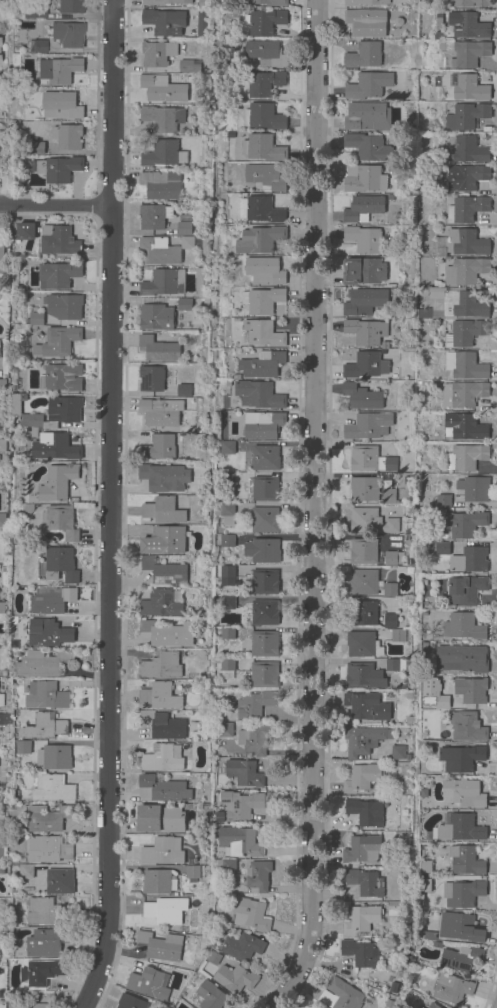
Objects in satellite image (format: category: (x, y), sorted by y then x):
building: (165, 2)
building: (270, 2)
building: (367, 3)
building: (469, 3)
building: (70, 6)
building: (32, 12)
building: (164, 21)
building: (265, 22)
building: (397, 22)
building: (366, 23)
building: (469, 25)
building: (68, 34)
building: (4, 36)
building: (36, 45)
building: (4, 51)
building: (266, 53)
building: (469, 53)
building: (157, 54)
building: (363, 56)
building: (189, 66)
building: (57, 70)
building: (264, 83)
building: (367, 85)
building: (159, 88)
building: (468, 88)
building: (30, 90)
building: (60, 105)
building: (467, 116)
building: (263, 117)
building: (368, 117)
building: (162, 118)
building: (67, 136)
building: (367, 147)
building: (36, 148)
building: (263, 148)
building: (467, 149)
building: (162, 154)
building: (1, 159)
building: (57, 168)
building: (266, 177)
building: (466, 177)
building: (363, 179)
building: (160, 184)
building: (428, 187)
building: (390, 197)
road: (55, 204)
building: (363, 208)
building: (467, 209)
building: (263, 210)
building: (153, 216)
building: (183, 218)
building: (22, 228)
building: (183, 230)
building: (259, 239)
building: (363, 239)
building: (60, 242)
building: (189, 243)
building: (462, 243)
building: (158, 251)
building: (1, 257)
building: (264, 271)
building: (363, 271)
building: (466, 271)
building: (58, 275)
building: (197, 282)
building: (163, 283)
building: (390, 291)
building: (262, 300)
building: (363, 301)
building: (183, 304)
building: (457, 304)
building: (64, 306)
building: (379, 312)
building: (238, 313)
building: (155, 317)
building: (36, 318)
building: (194, 319)
building: (365, 332)
building: (261, 333)
building: (466, 333)
building: (58, 342)
building: (384, 346)
building: (158, 349)
building: (262, 365)
building: (365, 366)
building: (466, 366)
building: (61, 377)
building: (237, 377)
building: (151, 379)
building: (228, 384)
building: (2, 385)
building: (183, 390)
building: (466, 394)
building: (258, 395)
building: (361, 397)
building: (17, 403)
building: (65, 410)
building: (159, 412)
building: (31, 421)
building: (263, 425)
building: (367, 426)
building: (464, 427)
building: (35, 433)
building: (3, 446)
building: (55, 447)
building: (157, 448)
building: (227, 448)
building: (466, 457)
building: (265, 458)
building: (371, 459)
building: (163, 477)
building: (229, 477)
building: (406, 481)
building: (57, 482)
building: (473, 488)
building: (265, 489)
building: (364, 489)
building: (227, 491)
building: (388, 496)
building: (443, 500)
road: (108, 506)
road: (311, 508)
building: (26, 510)
building: (163, 511)
building: (225, 512)
building: (265, 519)
building: (2, 520)
building: (59, 521)
building: (371, 522)
building: (464, 524)
building: (162, 539)
building: (227, 541)
building: (432, 548)
building: (443, 549)
building: (262, 550)
building: (363, 551)
building: (393, 558)
building: (470, 560)
building: (60, 565)
building: (165, 571)
building: (225, 574)
building: (264, 581)
building: (363, 582)
building: (424, 582)
building: (389, 590)
building: (464, 591)
building: (54, 601)
building: (162, 603)
building: (227, 603)
building: (1, 608)
building: (261, 613)
building: (363, 613)
building: (205, 614)
building: (393, 621)
building: (462, 626)
building: (48, 632)
building: (168, 633)
building: (227, 633)
building: (397, 635)
building: (264, 643)
building: (363, 645)
building: (425, 646)
building: (461, 658)
building: (409, 662)
building: (41, 664)
building: (160, 665)
building: (394, 666)
building: (226, 668)
building: (264, 674)
building: (190, 676)
building: (364, 676)
building: (470, 690)
building: (408, 694)
building: (46, 696)
building: (158, 696)
building: (1, 700)
building: (442, 702)
building: (253, 704)
building: (366, 706)
building: (3, 720)
building: (409, 720)
building: (162, 725)
building: (45, 726)
building: (466, 727)
building: (225, 730)
building: (253, 739)
building: (361, 740)
building: (189, 744)
building: (424, 747)
building: (23, 748)
building: (397, 752)
building: (54, 757)
building: (407, 757)
building: (163, 758)
building: (461, 758)
building: (244, 773)
building: (361, 778)
building: (52, 789)
building: (162, 789)
building: (462, 793)
building: (0, 794)
building: (240, 805)
building: (364, 812)
building: (47, 818)
building: (160, 819)
building: (459, 828)
building: (429, 835)
building: (238, 841)
building: (48, 849)
building: (362, 849)
building: (162, 852)
building: (18, 859)
building: (465, 860)
building: (224, 866)
building: (425, 867)
building: (1, 868)
building: (25, 872)
building: (191, 873)
building: (258, 876)
building: (59, 881)
building: (157, 882)
building: (364, 882)
building: (425, 885)
building: (462, 894)
building: (420, 897)
building: (165, 910)
building: (47, 912)
building: (250, 914)
building: (361, 920)
building: (459, 927)
building: (428, 935)
building: (46, 942)
building: (0, 944)
building: (161, 946)
building: (242, 947)
building: (360, 953)
building: (214, 958)
building: (461, 958)
building: (41, 972)
building: (235, 978)
building: (149, 983)
building: (397, 983)
building: (390, 988)
building: (451, 989)
building: (210, 995)
building: (341, 995)
building: (390, 1001)
building: (130, 1002)
building: (28, 1005)
building: (433, 1005)
building: (419, 1007)

